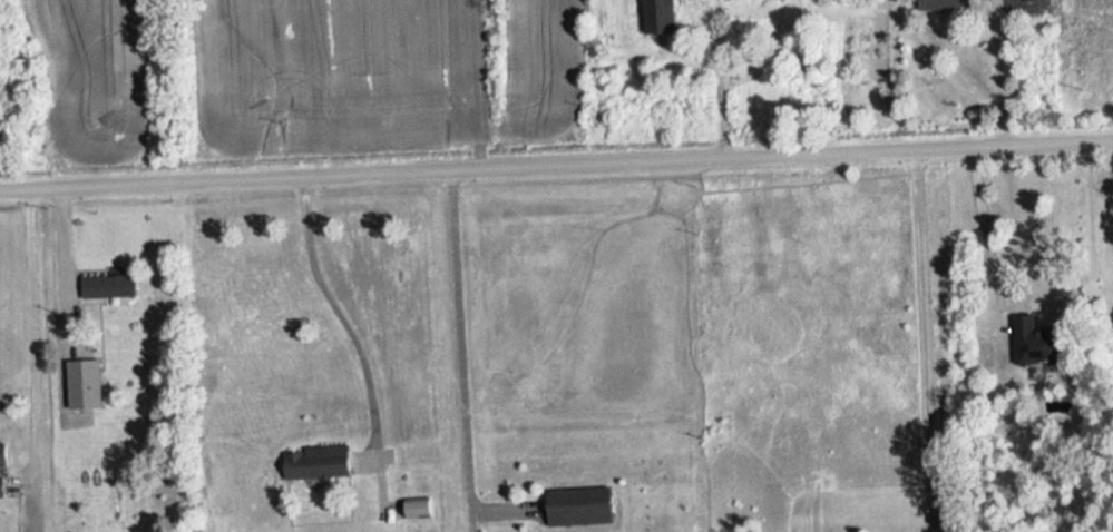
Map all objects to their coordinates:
building: (1038, 0)
building: (948, 4)
road: (1002, 76)
road: (556, 171)
road: (1107, 189)
road: (984, 230)
road: (68, 266)
building: (110, 287)
road: (348, 322)
road: (28, 339)
road: (922, 343)
road: (461, 354)
building: (87, 385)
building: (320, 463)
building: (3, 469)
building: (583, 506)

